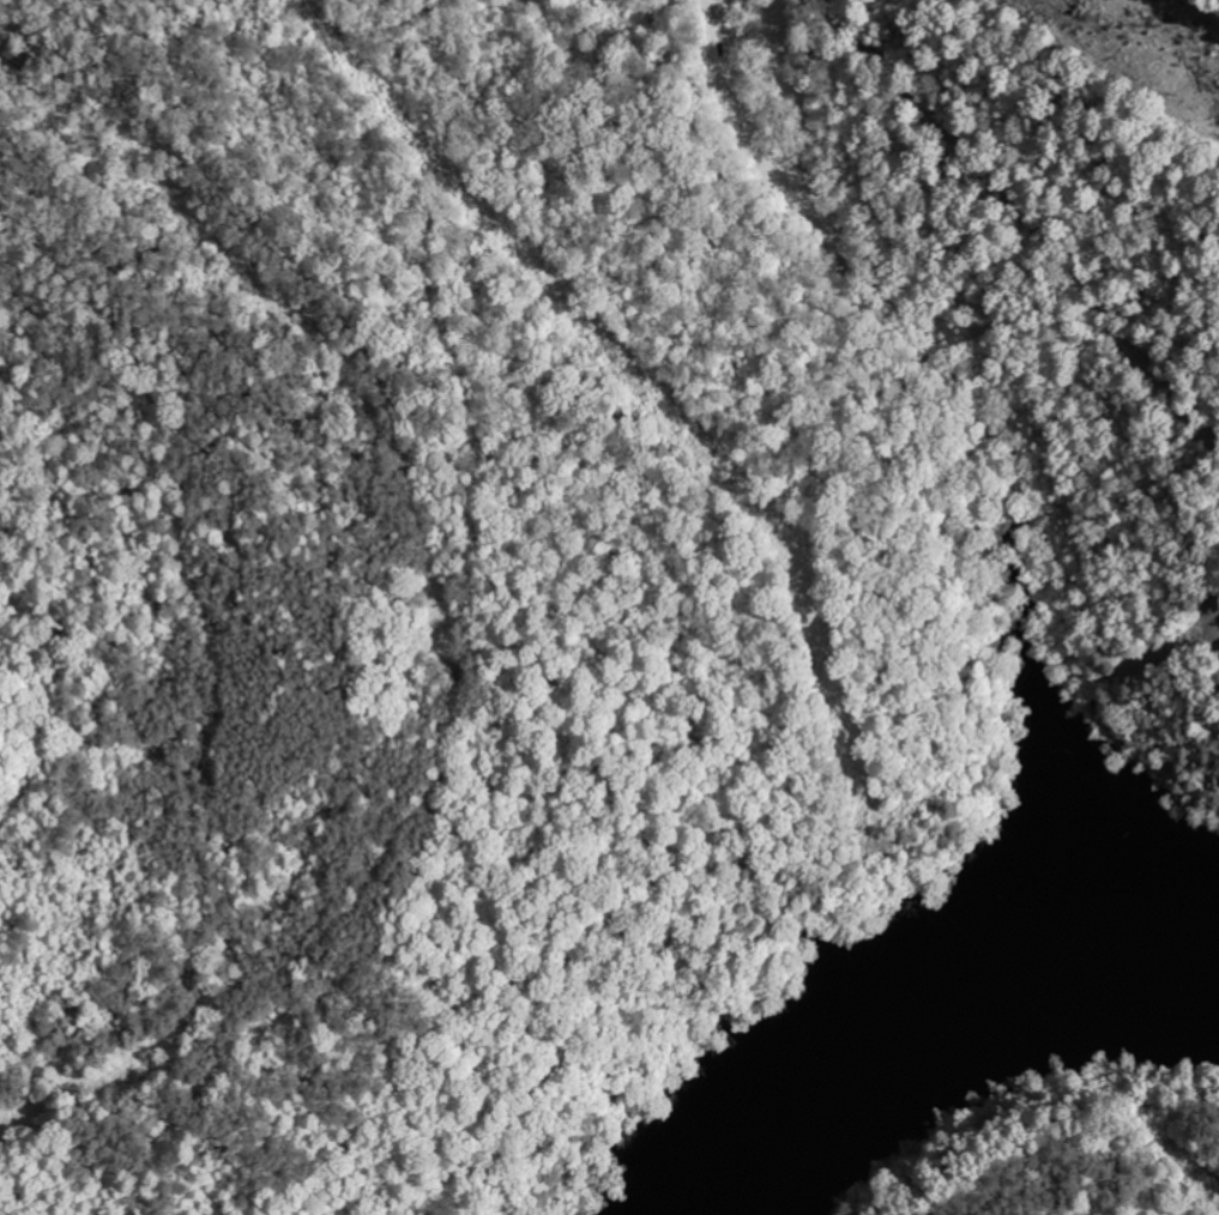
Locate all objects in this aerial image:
road: (1028, 214)
road: (929, 332)
river: (923, 1018)

